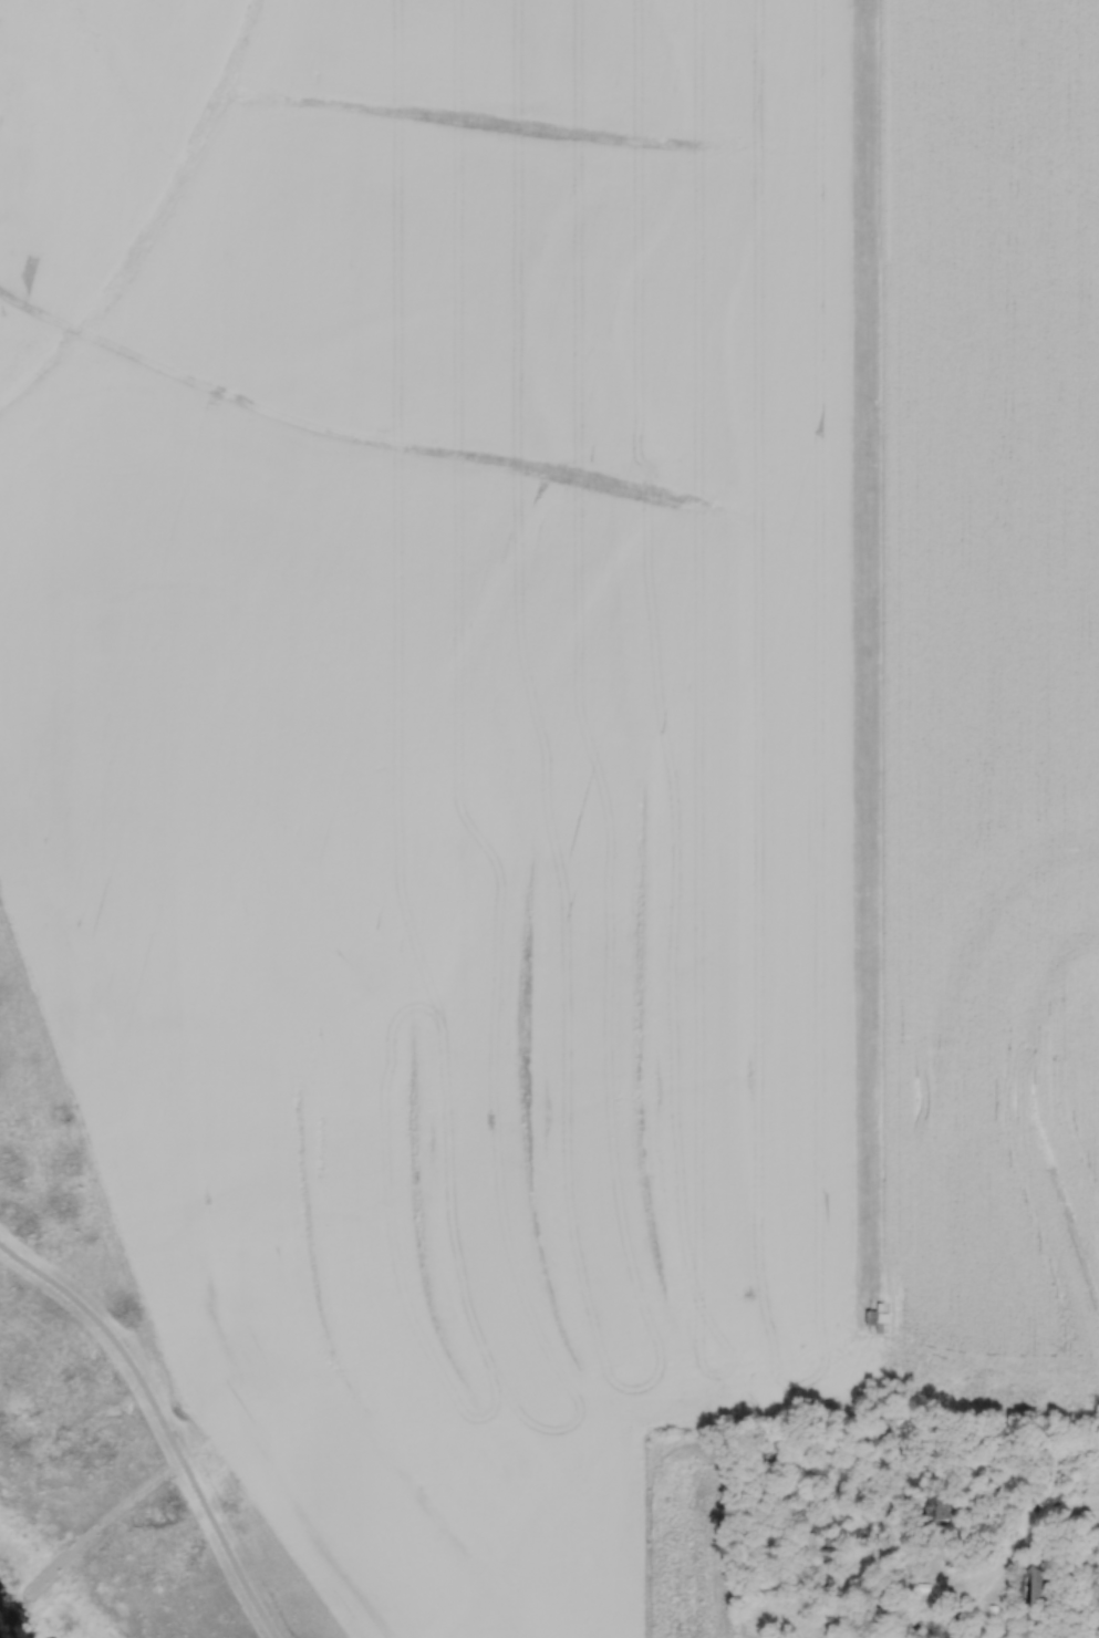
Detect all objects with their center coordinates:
airport runway: (867, 637)
building: (877, 1319)
park: (105, 1410)
road: (162, 1422)
building: (934, 1506)
road: (102, 1521)
building: (1040, 1588)
building: (881, 1603)

